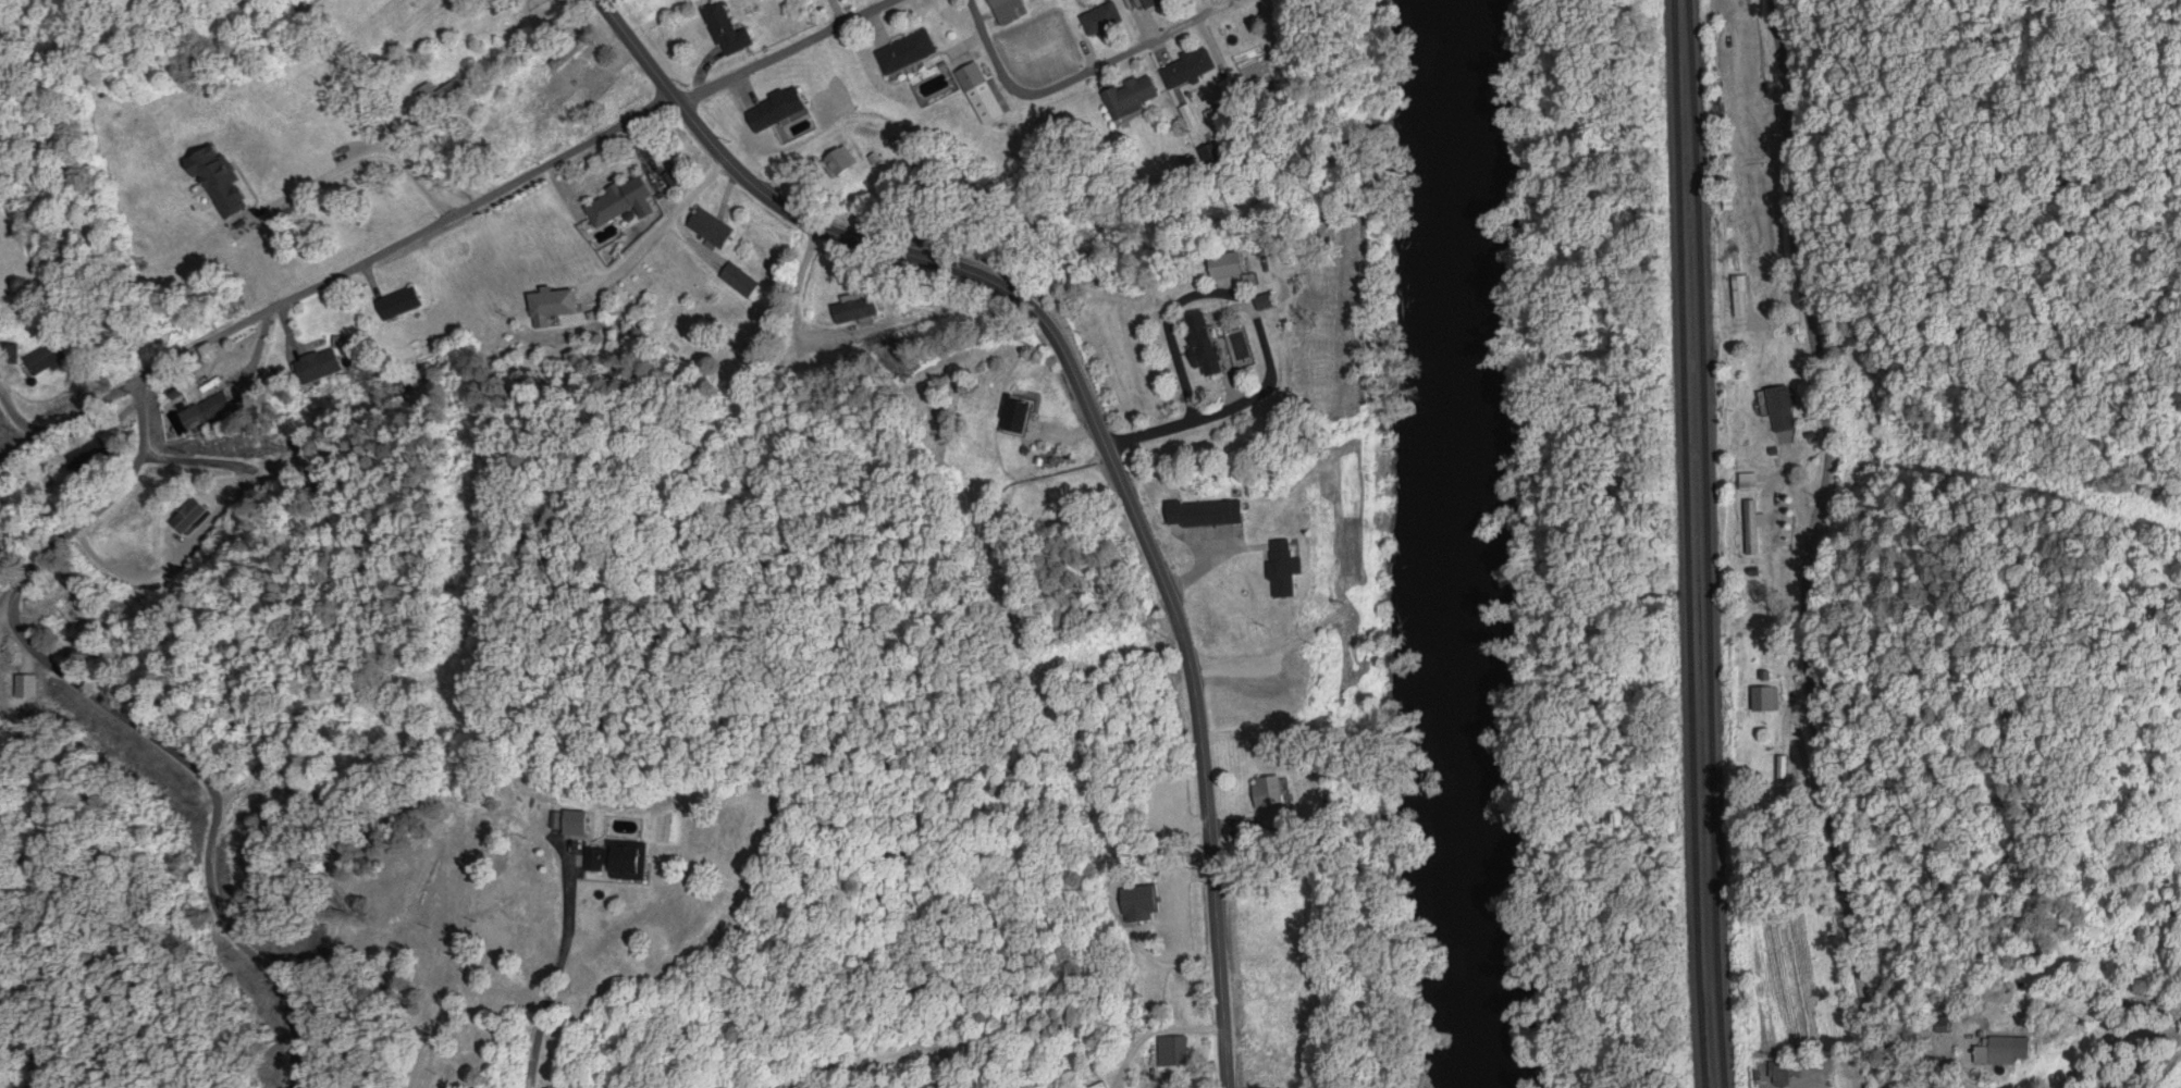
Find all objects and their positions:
building: (1158, 3)
building: (1011, 10)
building: (1106, 20)
building: (731, 30)
road: (784, 49)
building: (911, 52)
building: (1192, 67)
road: (1084, 75)
building: (448, 89)
building: (984, 92)
building: (607, 94)
building: (1134, 97)
building: (431, 103)
building: (781, 109)
building: (843, 162)
building: (224, 181)
building: (626, 201)
building: (716, 228)
road: (337, 280)
building: (740, 280)
building: (1741, 296)
building: (399, 304)
building: (552, 306)
building: (857, 310)
building: (1218, 347)
building: (49, 360)
road: (719, 404)
building: (1785, 408)
building: (201, 415)
road: (14, 419)
road: (1096, 425)
building: (89, 456)
building: (1751, 527)
building: (10, 540)
river: (1480, 543)
railway: (1706, 543)
railway: (1692, 544)
road: (1958, 544)
building: (1290, 570)
road: (24, 675)
road: (44, 691)
building: (1767, 700)
road: (131, 720)
building: (1778, 770)
building: (1276, 800)
building: (597, 858)
building: (636, 862)
building: (2010, 1049)
building: (1175, 1050)
building: (1779, 1073)

